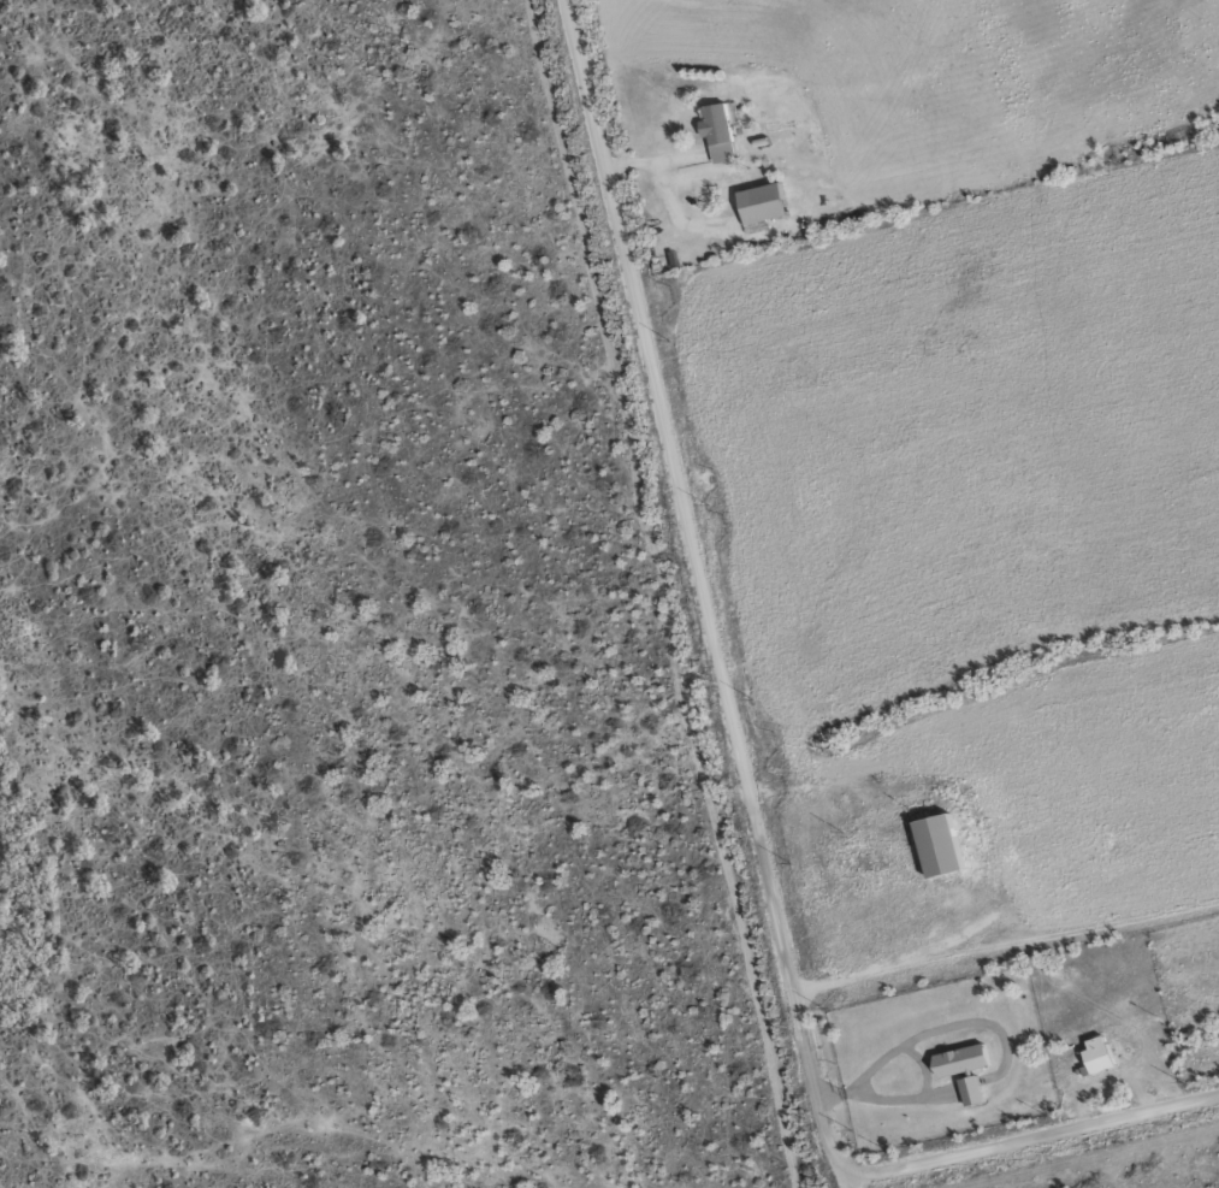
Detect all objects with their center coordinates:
road: (906, 83)
building: (717, 129)
building: (757, 201)
road: (686, 589)
building: (935, 844)
building: (1093, 1054)
building: (955, 1059)
building: (966, 1089)
road: (1026, 1131)
road: (389, 1137)
road: (833, 1178)

